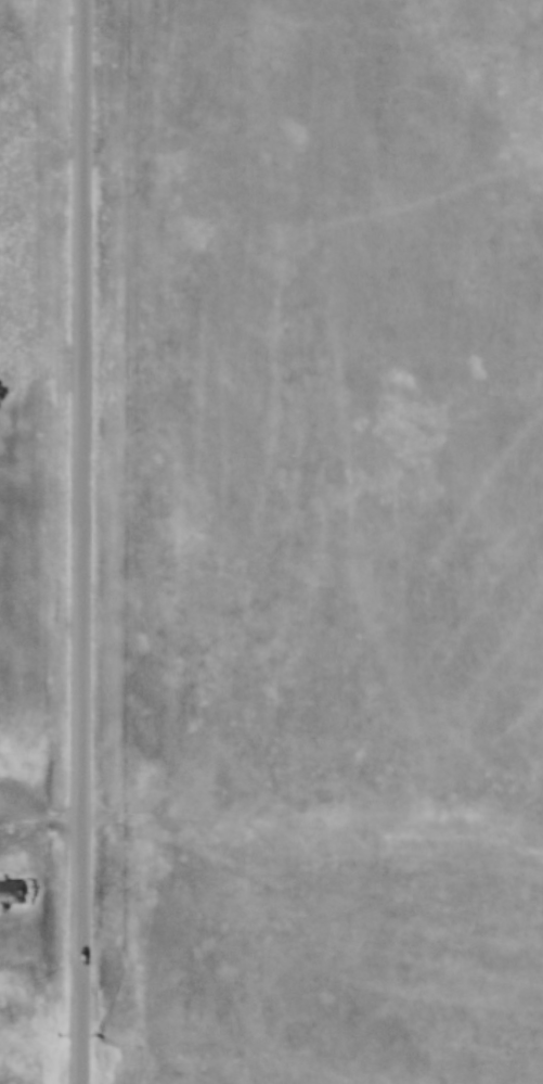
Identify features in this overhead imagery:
road: (89, 541)
road: (44, 818)
building: (14, 887)

